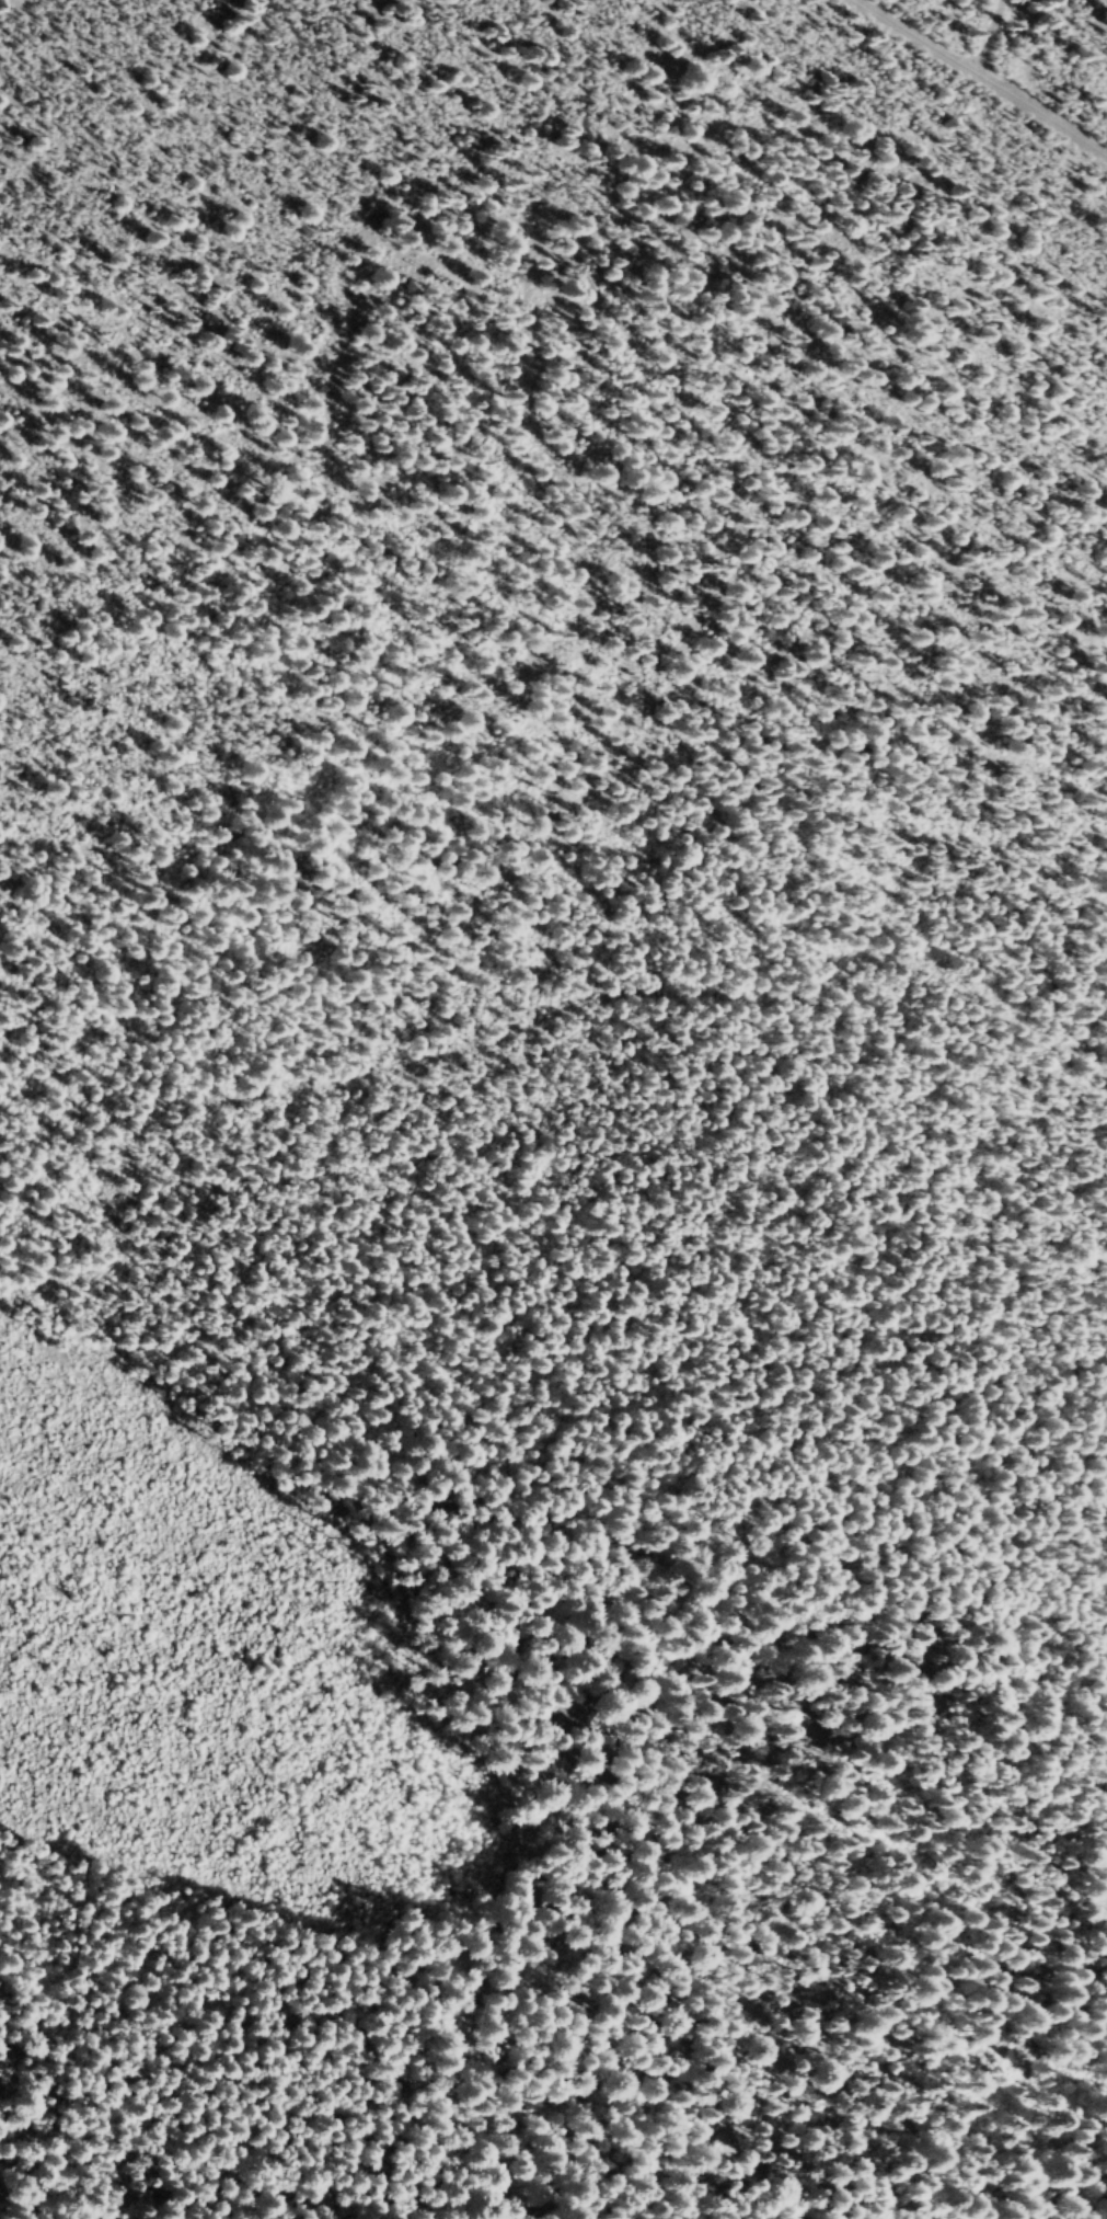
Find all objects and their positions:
road: (979, 75)

